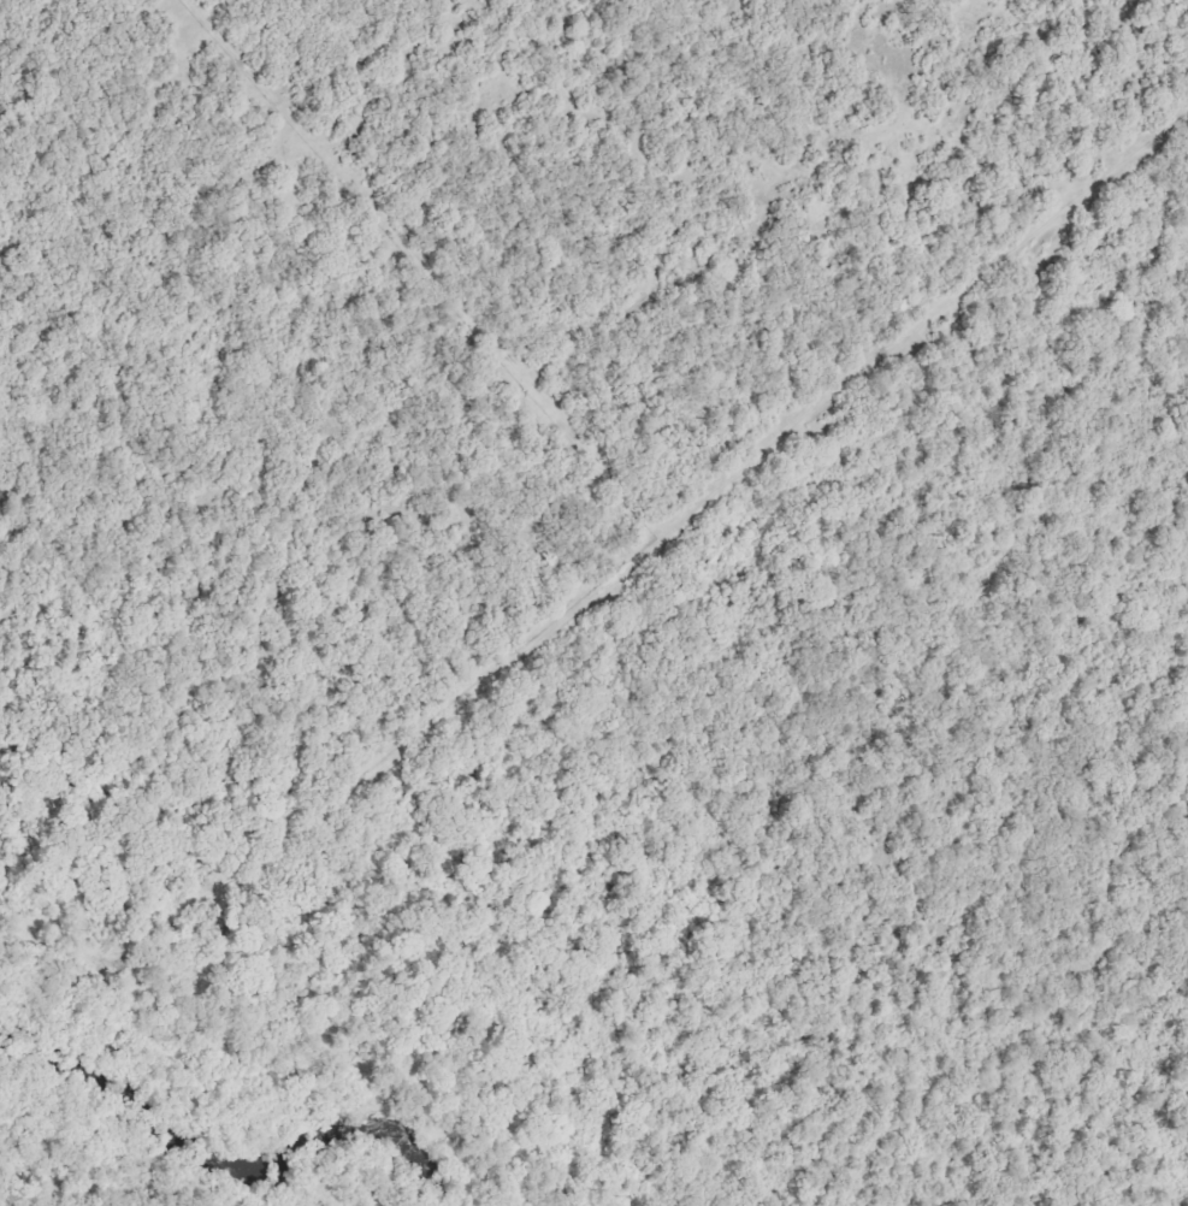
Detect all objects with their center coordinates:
river: (221, 1155)

